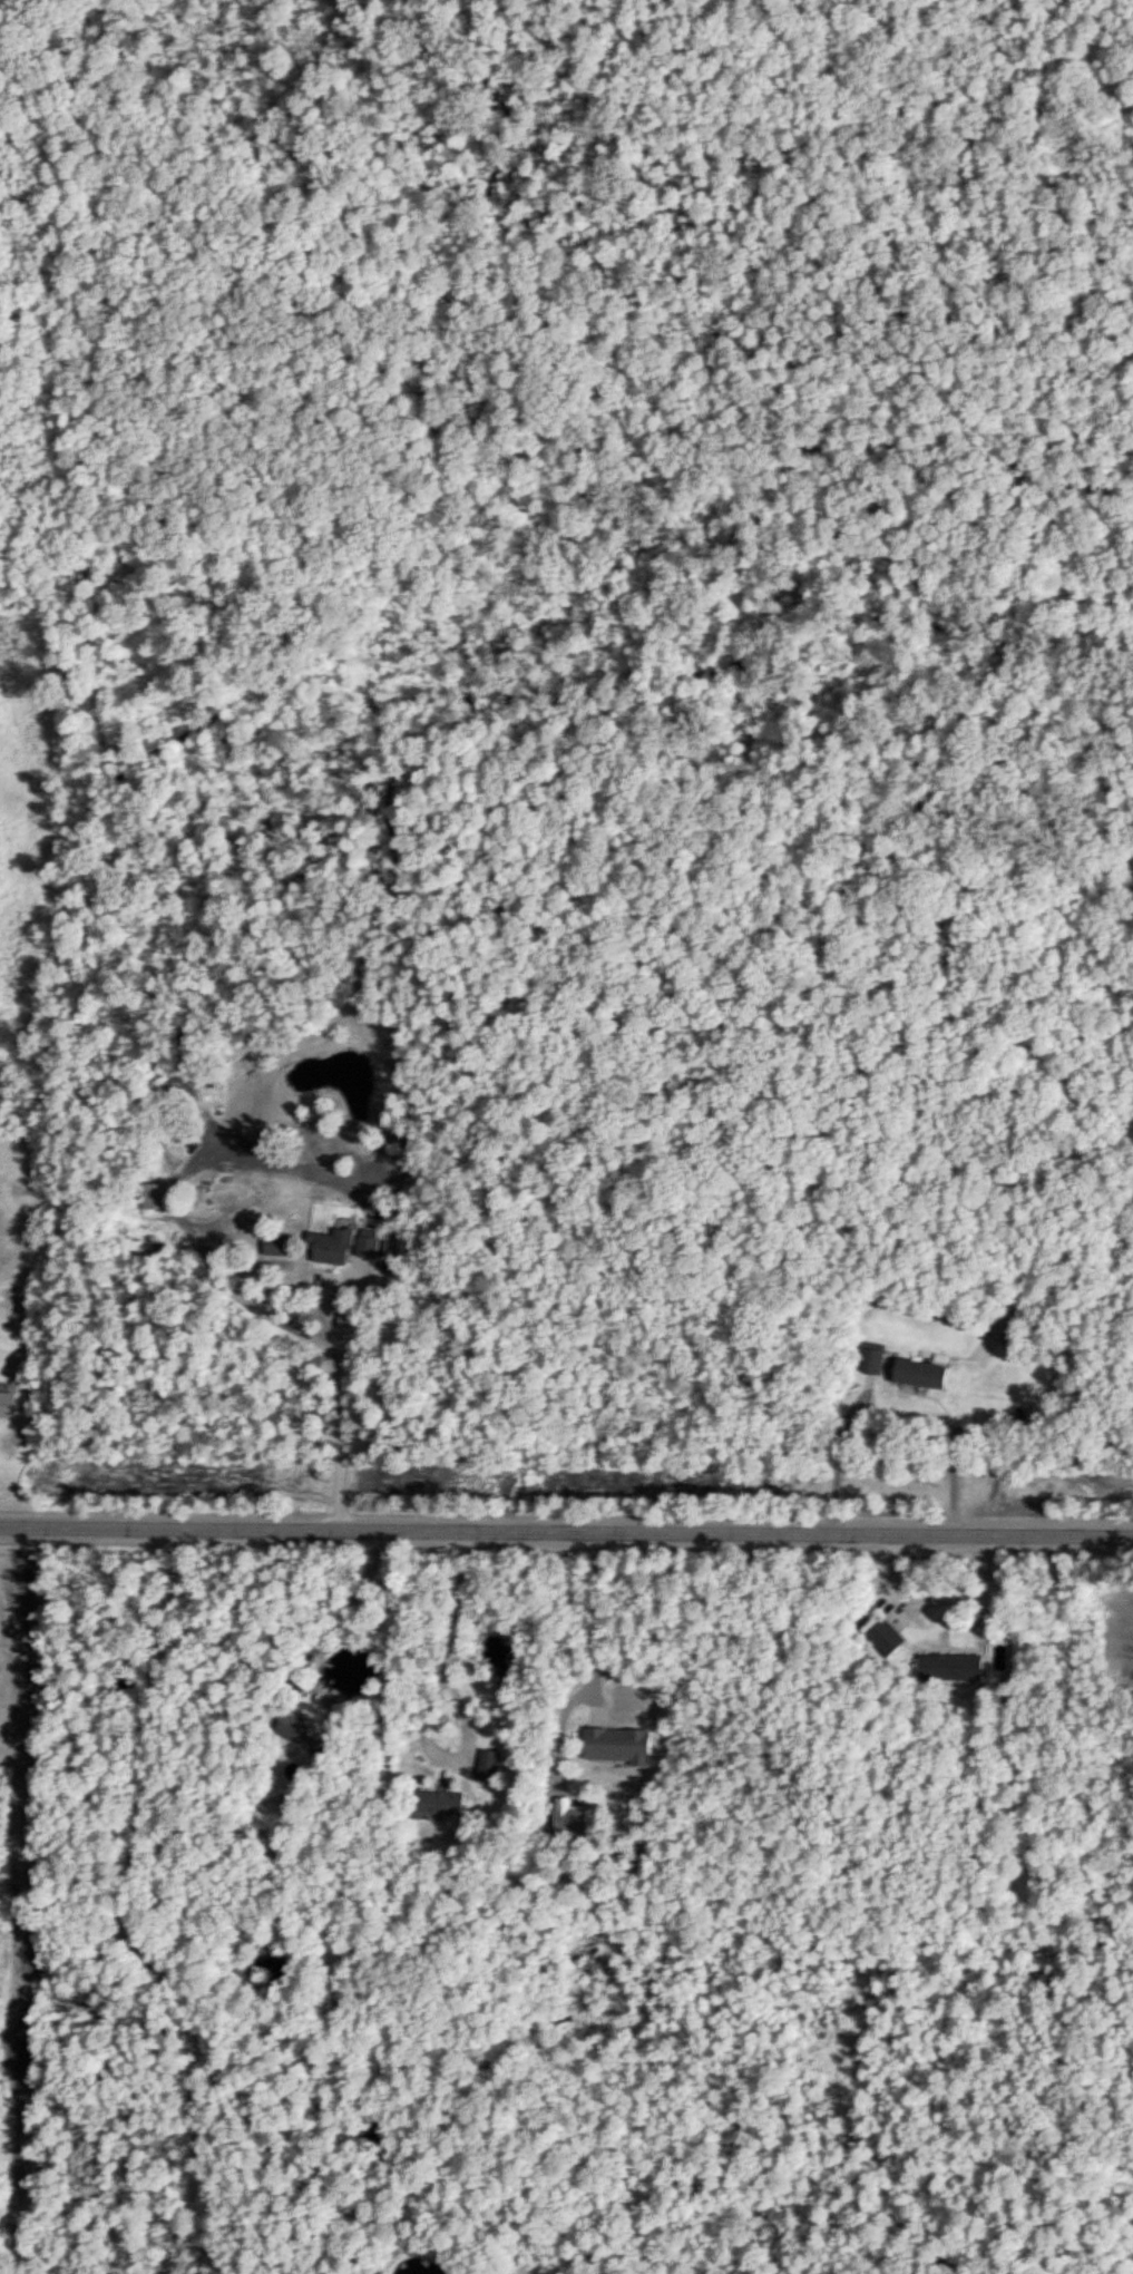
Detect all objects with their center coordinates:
building: (150, 1195)
building: (364, 1247)
building: (326, 1248)
building: (916, 1373)
road: (336, 1407)
road: (834, 1460)
road: (566, 1534)
road: (340, 1612)
road: (589, 1620)
building: (882, 1636)
building: (948, 1665)
road: (427, 1705)
building: (614, 1743)
building: (486, 1764)
building: (434, 1800)
building: (567, 1814)
road: (123, 1910)

